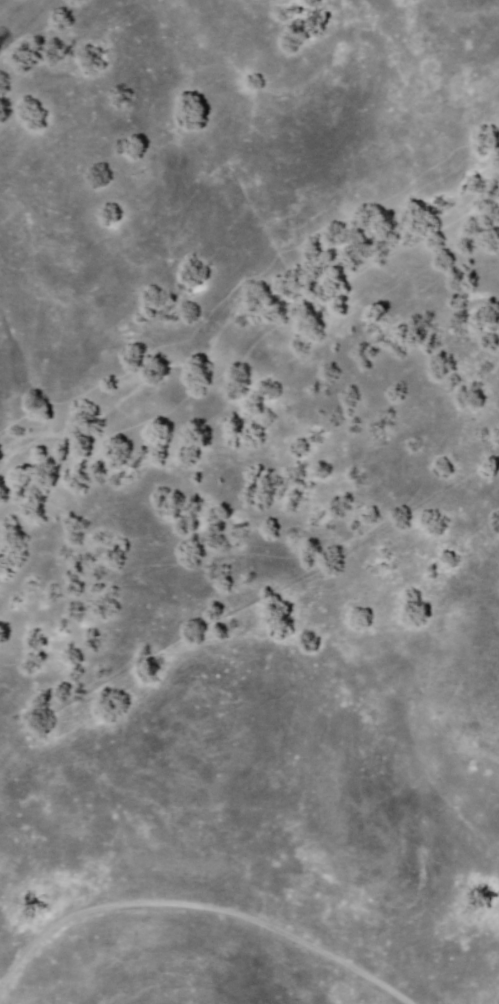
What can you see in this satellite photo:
road: (197, 907)

